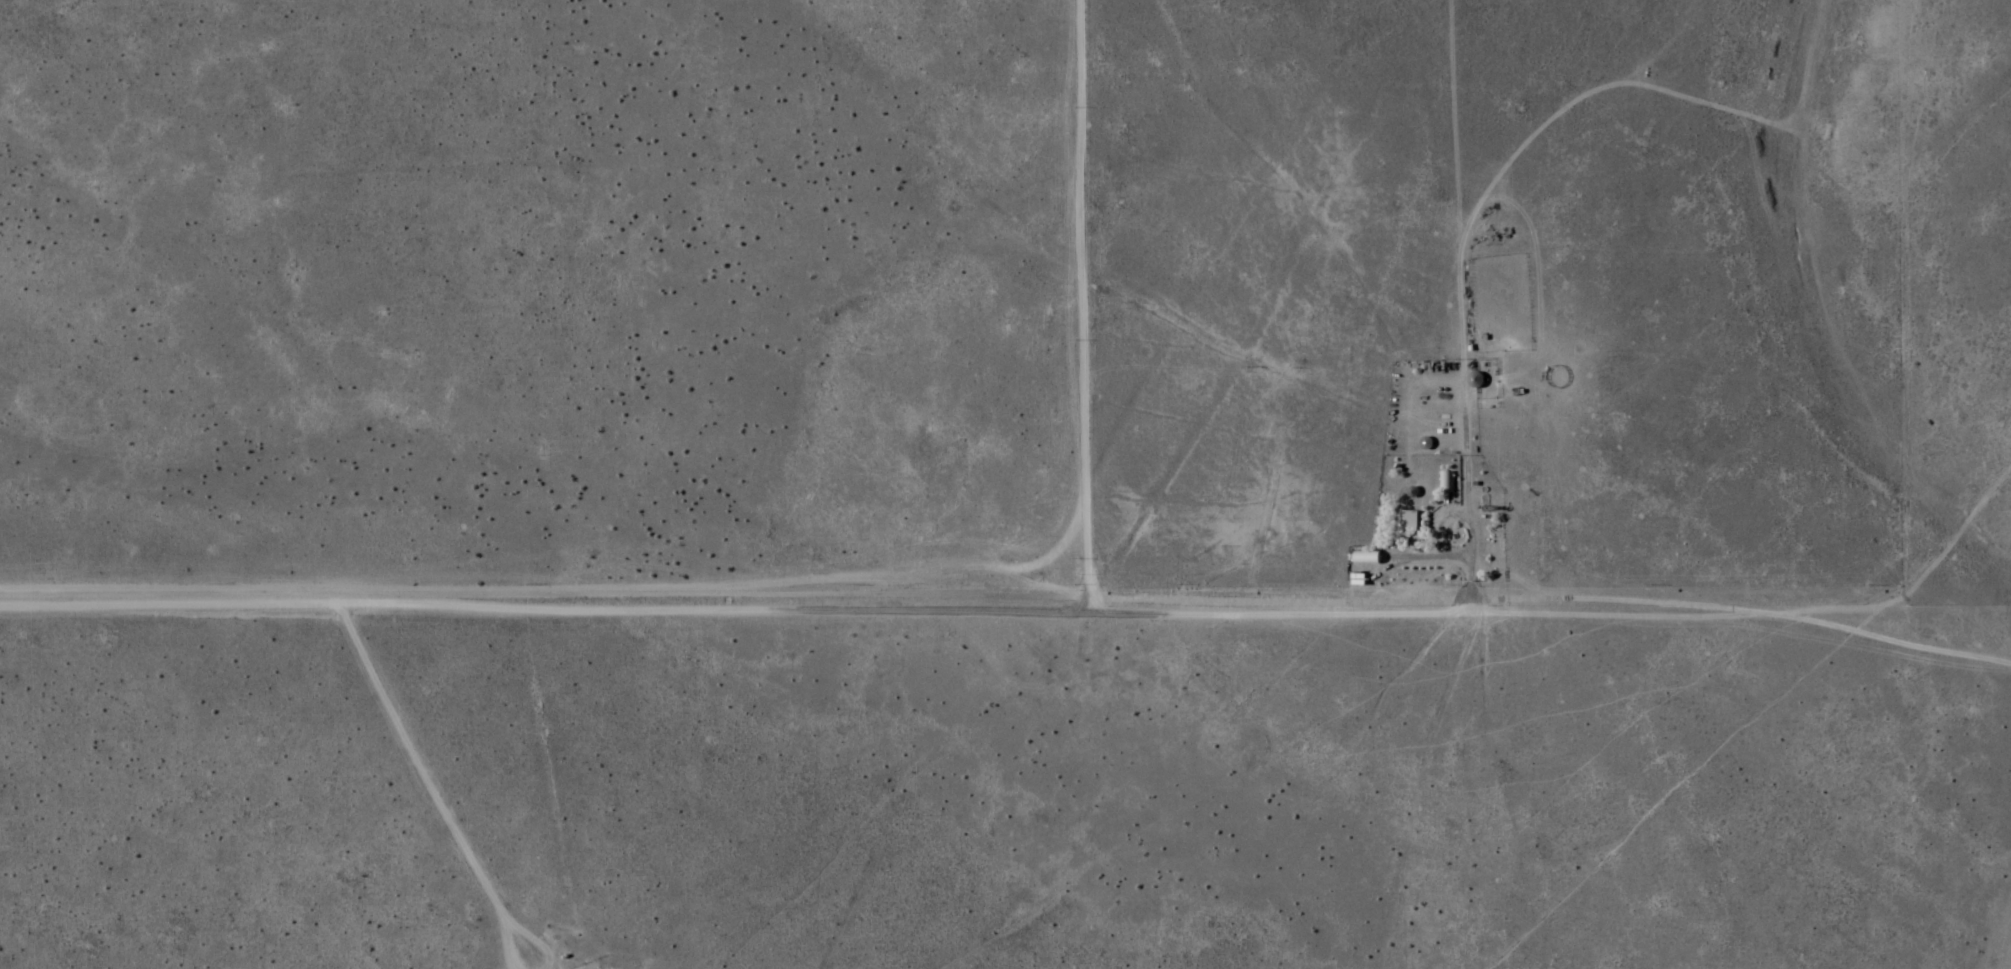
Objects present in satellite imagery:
road: (1076, 299)
building: (1474, 380)
building: (1445, 483)
building: (1408, 525)
building: (1366, 560)
road: (1008, 599)

